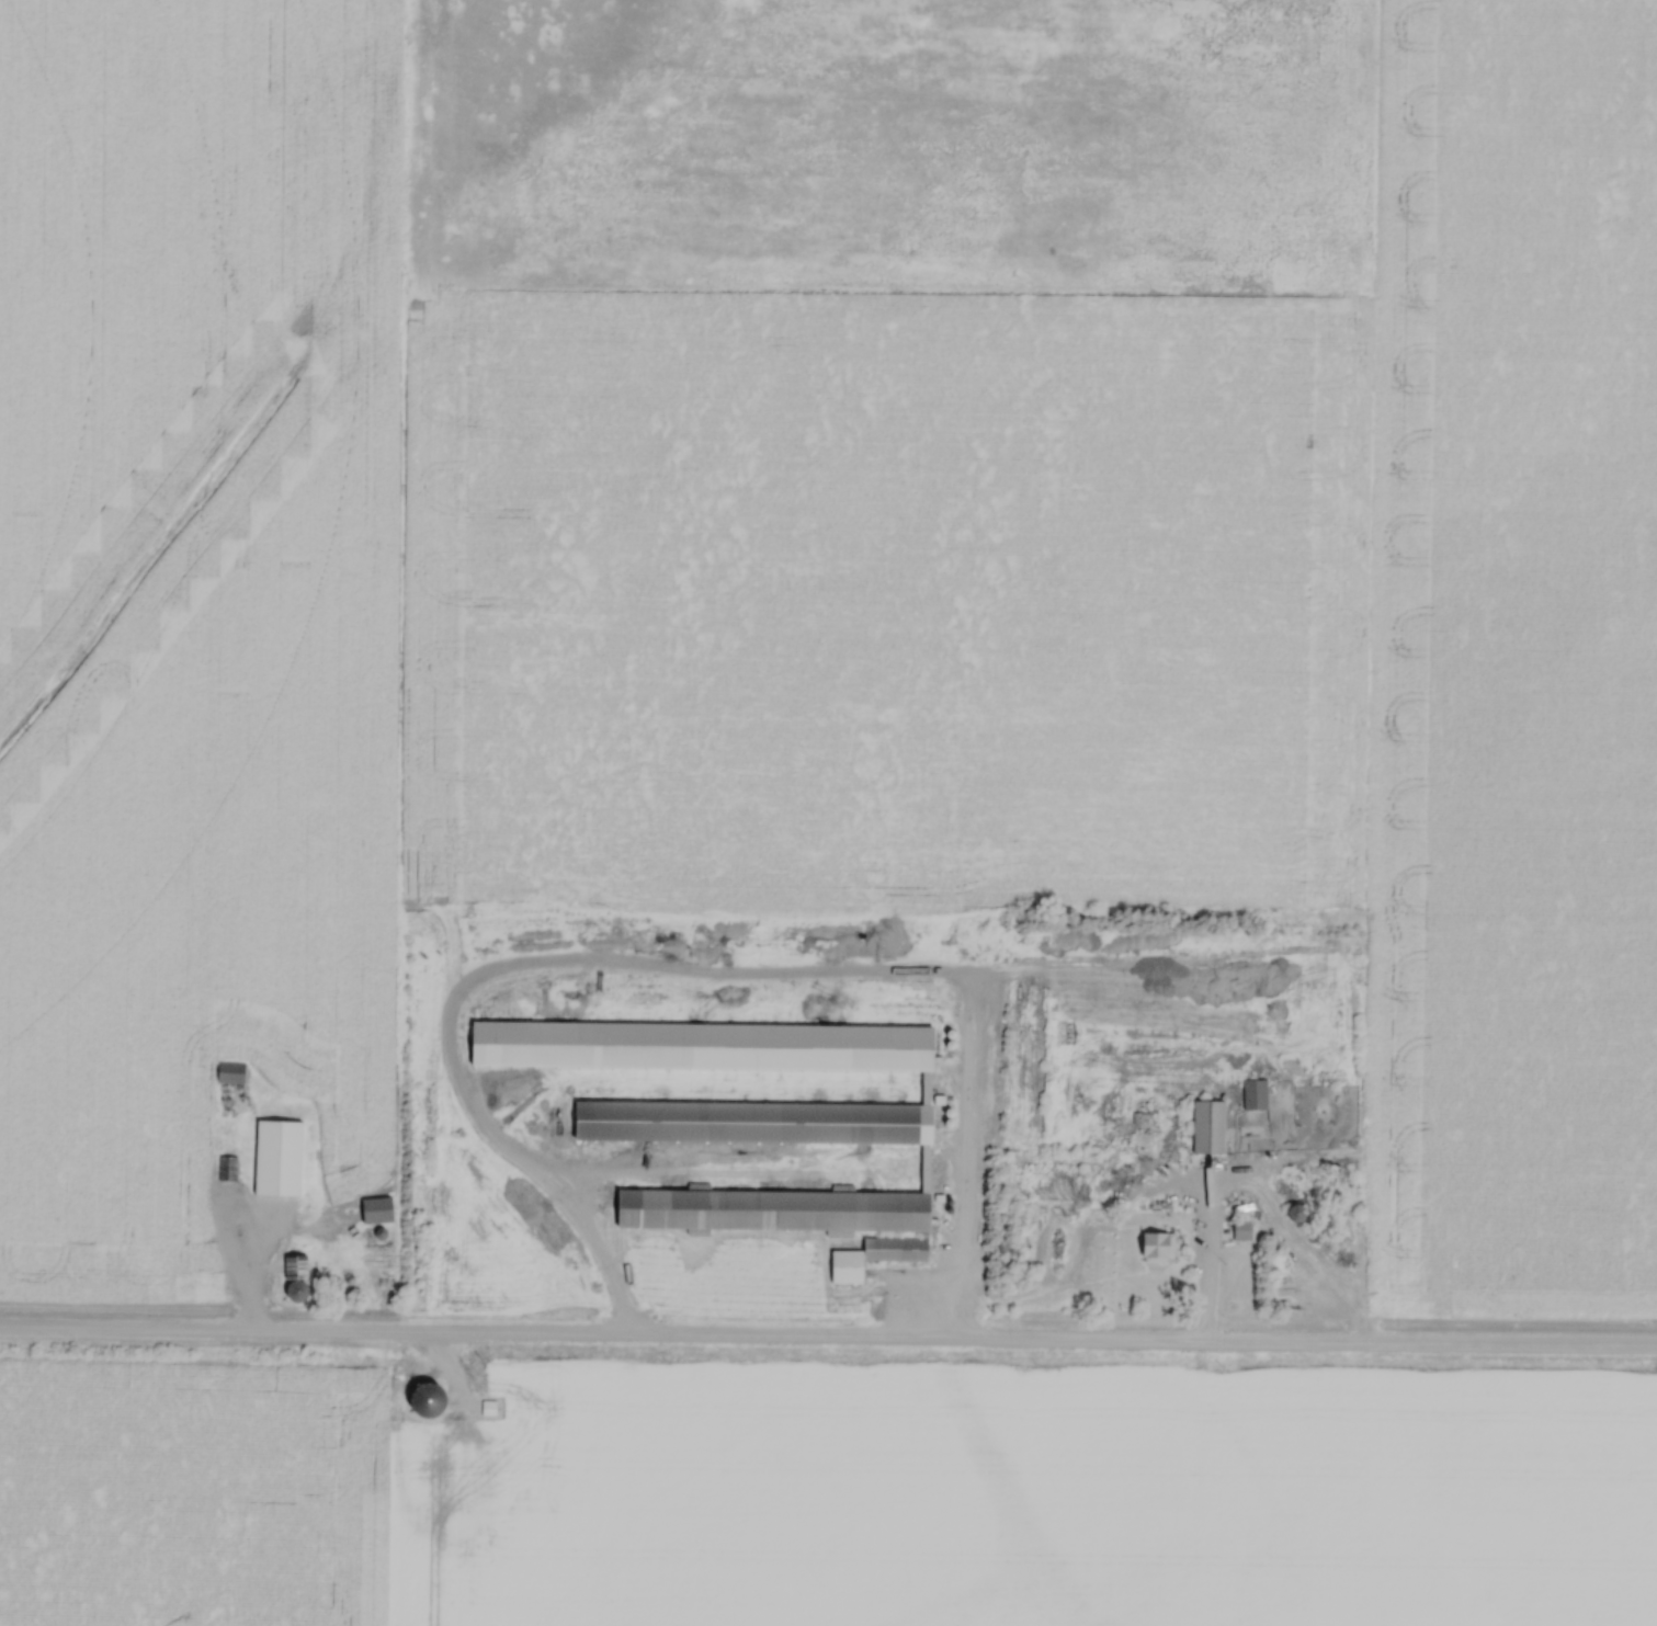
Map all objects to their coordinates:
road: (957, 974)
building: (231, 1072)
building: (1255, 1094)
building: (742, 1113)
building: (1208, 1126)
building: (228, 1169)
road: (963, 1184)
building: (378, 1210)
building: (1296, 1213)
building: (1242, 1230)
road: (252, 1239)
road: (1202, 1241)
building: (1158, 1247)
building: (896, 1249)
building: (296, 1277)
road: (248, 1312)
road: (828, 1341)
building: (427, 1401)

